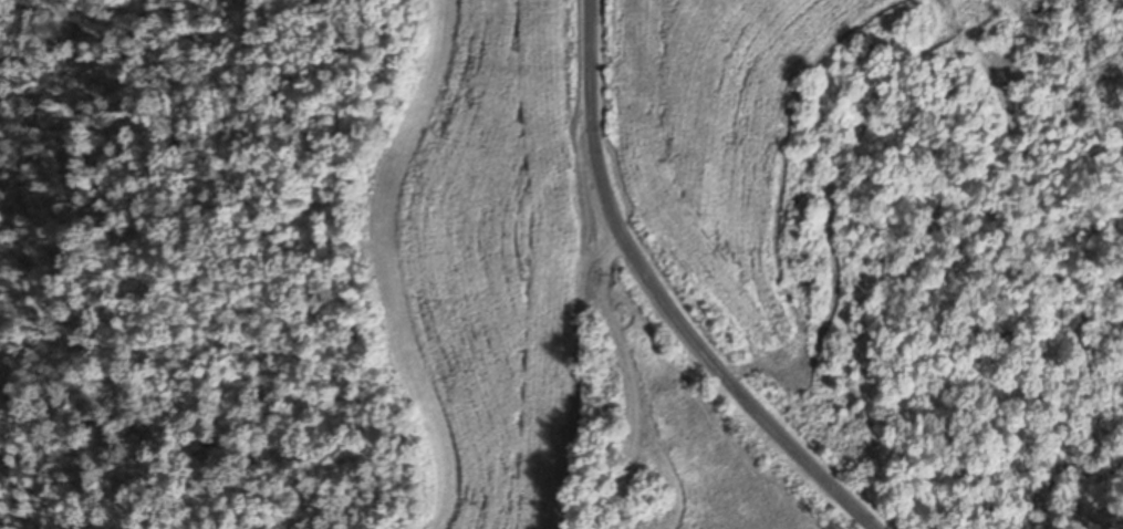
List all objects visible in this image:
road: (661, 298)

